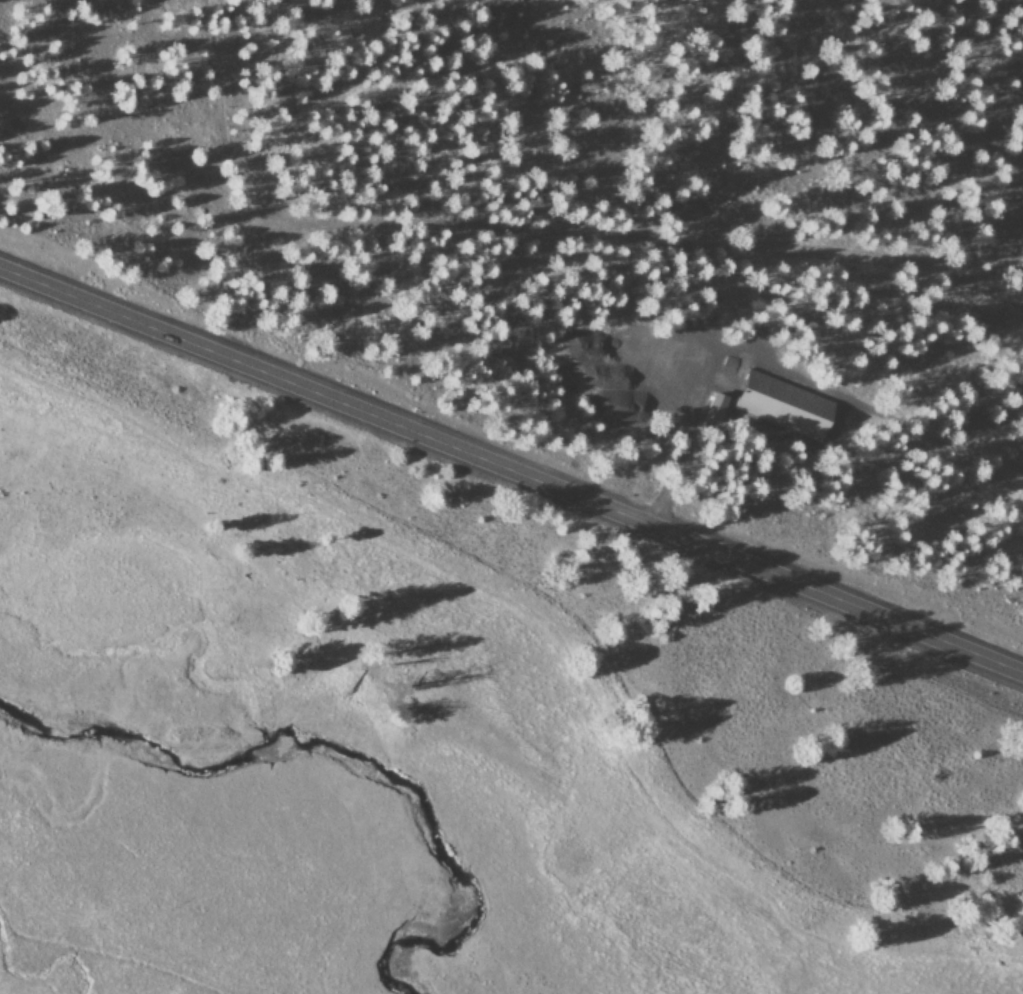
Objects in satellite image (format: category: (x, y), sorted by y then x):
building: (763, 391)
road: (511, 469)

